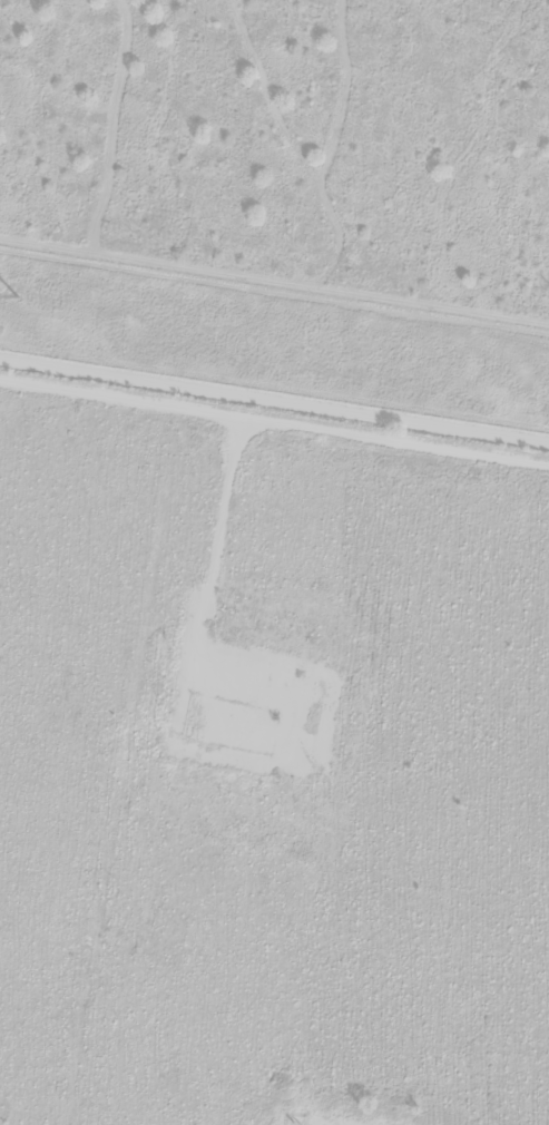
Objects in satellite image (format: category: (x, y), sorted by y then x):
power tower: (16, 296)
road: (274, 429)

